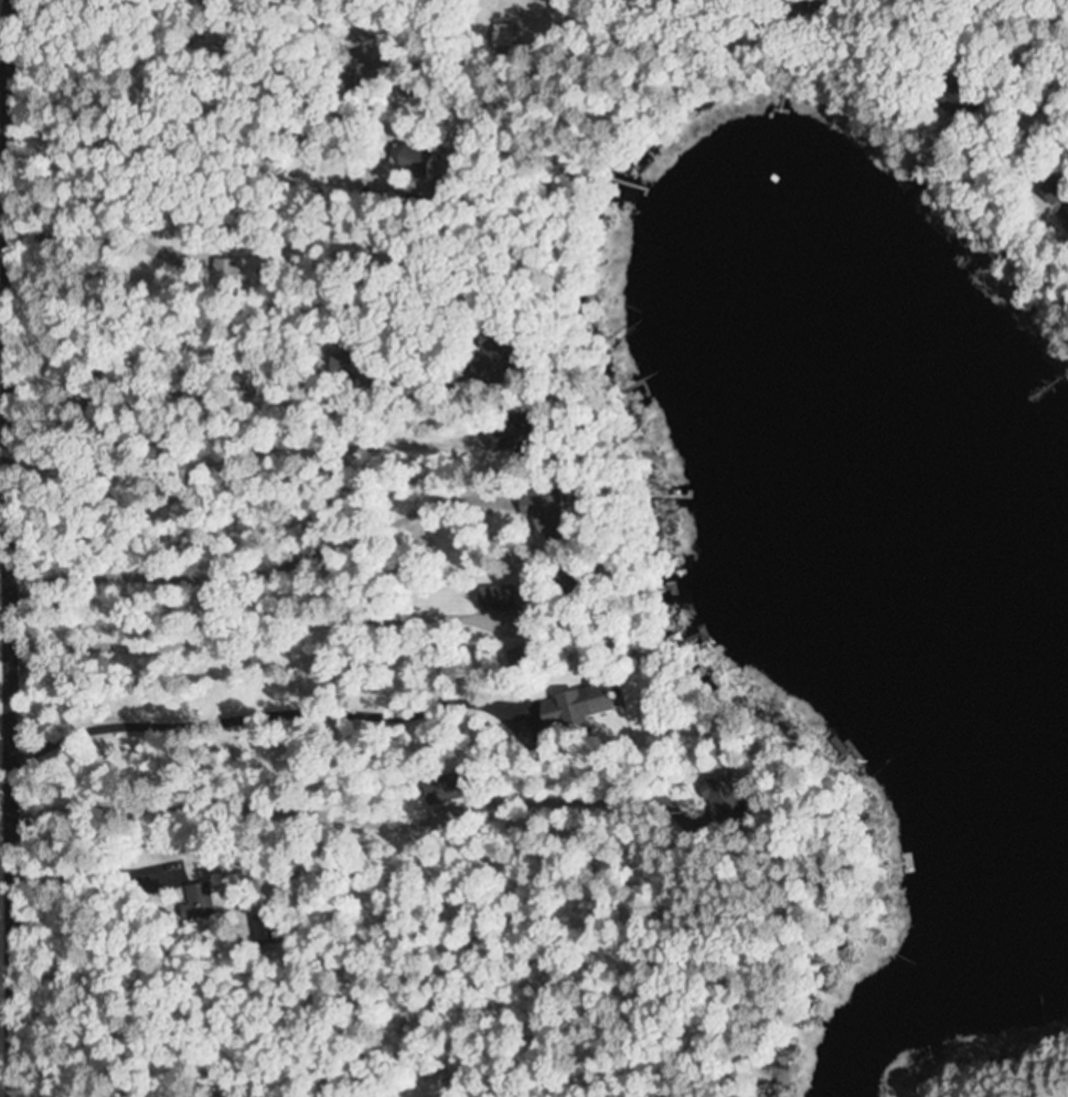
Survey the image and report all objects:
building: (210, 273)
road: (6, 433)
building: (521, 439)
building: (554, 510)
road: (11, 547)
building: (508, 598)
building: (584, 706)
building: (733, 796)
building: (197, 902)

